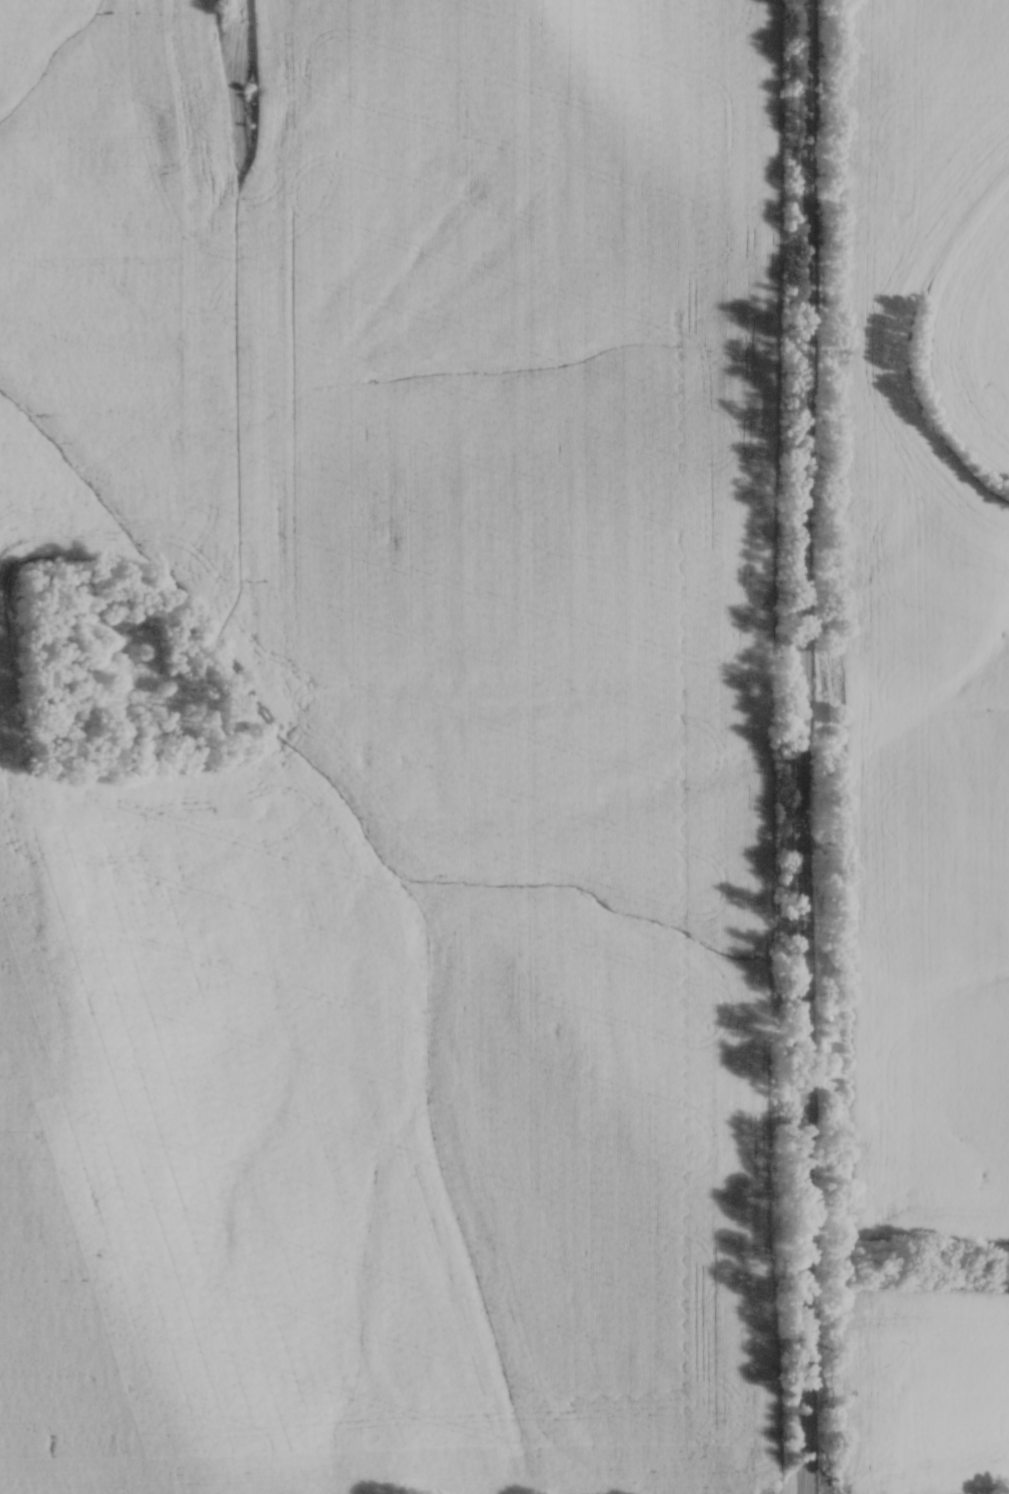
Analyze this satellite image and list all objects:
road: (804, 747)

